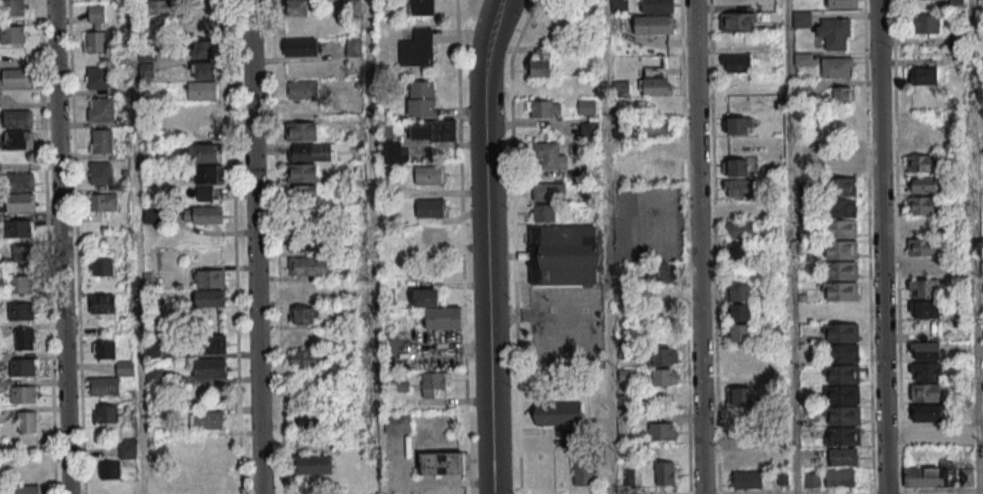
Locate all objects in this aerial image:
building: (956, 2)
building: (842, 3)
building: (619, 4)
building: (657, 6)
building: (12, 7)
building: (160, 7)
building: (419, 7)
building: (297, 8)
building: (738, 22)
building: (653, 24)
building: (925, 24)
building: (96, 30)
building: (148, 30)
building: (833, 33)
building: (13, 34)
building: (354, 46)
building: (301, 47)
building: (206, 48)
building: (417, 48)
building: (540, 63)
building: (736, 63)
building: (835, 68)
building: (207, 70)
building: (921, 76)
building: (15, 77)
building: (97, 78)
building: (655, 81)
building: (303, 89)
building: (202, 90)
building: (839, 96)
building: (420, 98)
building: (587, 106)
building: (543, 108)
building: (101, 109)
building: (18, 119)
building: (738, 125)
building: (658, 128)
building: (589, 129)
building: (432, 130)
building: (299, 131)
building: (18, 139)
building: (101, 141)
building: (204, 153)
building: (312, 153)
building: (548, 156)
building: (921, 163)
building: (839, 165)
building: (736, 166)
building: (658, 169)
building: (101, 172)
building: (302, 173)
building: (209, 174)
building: (429, 175)
building: (19, 181)
building: (924, 184)
building: (840, 187)
building: (738, 188)
building: (548, 191)
building: (205, 193)
building: (303, 193)
building: (18, 202)
building: (103, 202)
building: (922, 205)
building: (430, 207)
building: (840, 208)
building: (543, 212)
building: (204, 214)
building: (18, 228)
building: (841, 228)
building: (739, 229)
building: (433, 234)
building: (306, 243)
road: (514, 244)
road: (486, 245)
building: (923, 246)
road: (46, 247)
road: (61, 247)
road: (76, 247)
road: (255, 247)
road: (370, 247)
road: (461, 247)
road: (607, 247)
road: (698, 247)
road: (790, 247)
road: (880, 247)
road: (975, 247)
building: (738, 250)
building: (839, 250)
building: (22, 255)
building: (563, 255)
building: (101, 266)
building: (309, 266)
building: (924, 267)
building: (981, 267)
building: (840, 270)
building: (663, 272)
building: (20, 284)
building: (210, 288)
building: (923, 288)
building: (840, 290)
building: (739, 291)
building: (103, 303)
building: (924, 309)
building: (20, 311)
building: (435, 311)
building: (740, 312)
building: (305, 315)
building: (740, 333)
building: (25, 338)
building: (209, 343)
building: (842, 343)
building: (104, 350)
building: (926, 350)
building: (152, 351)
building: (306, 359)
building: (24, 366)
building: (125, 367)
building: (210, 368)
building: (925, 371)
building: (843, 374)
building: (665, 377)
building: (433, 383)
building: (104, 385)
building: (19, 392)
building: (925, 392)
building: (741, 395)
building: (842, 405)
building: (557, 412)
building: (105, 413)
building: (926, 413)
building: (743, 416)
building: (311, 419)
building: (206, 420)
building: (27, 421)
building: (396, 424)
building: (661, 426)
building: (926, 434)
building: (842, 436)
building: (744, 439)
building: (127, 448)
building: (843, 457)
building: (743, 458)
building: (442, 463)
building: (313, 464)
building: (583, 469)
building: (109, 470)
building: (665, 473)
building: (779, 477)
building: (966, 477)
building: (839, 478)
building: (927, 478)
building: (747, 480)
building: (812, 480)
building: (26, 489)

